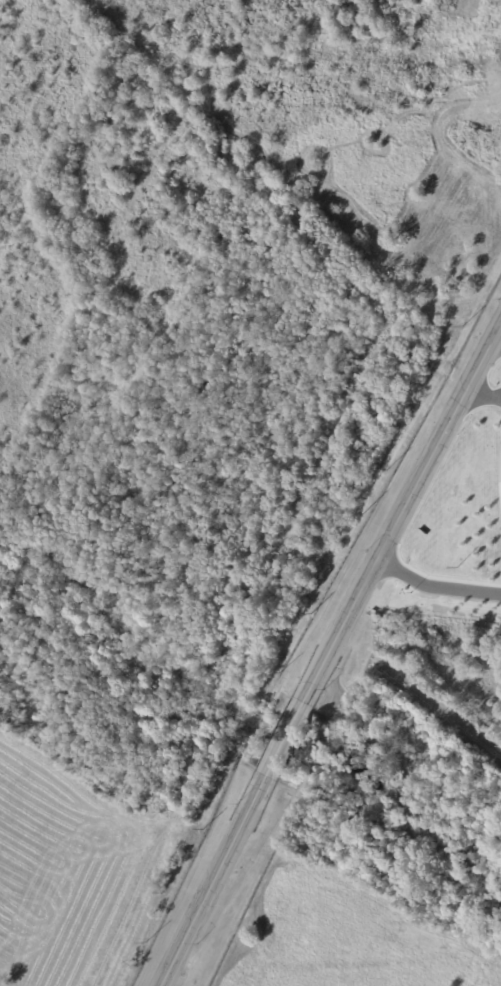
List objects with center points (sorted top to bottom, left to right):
road: (498, 330)
road: (484, 388)
airport: (250, 493)
road: (402, 509)
road: (434, 590)
road: (285, 738)
road: (212, 880)

